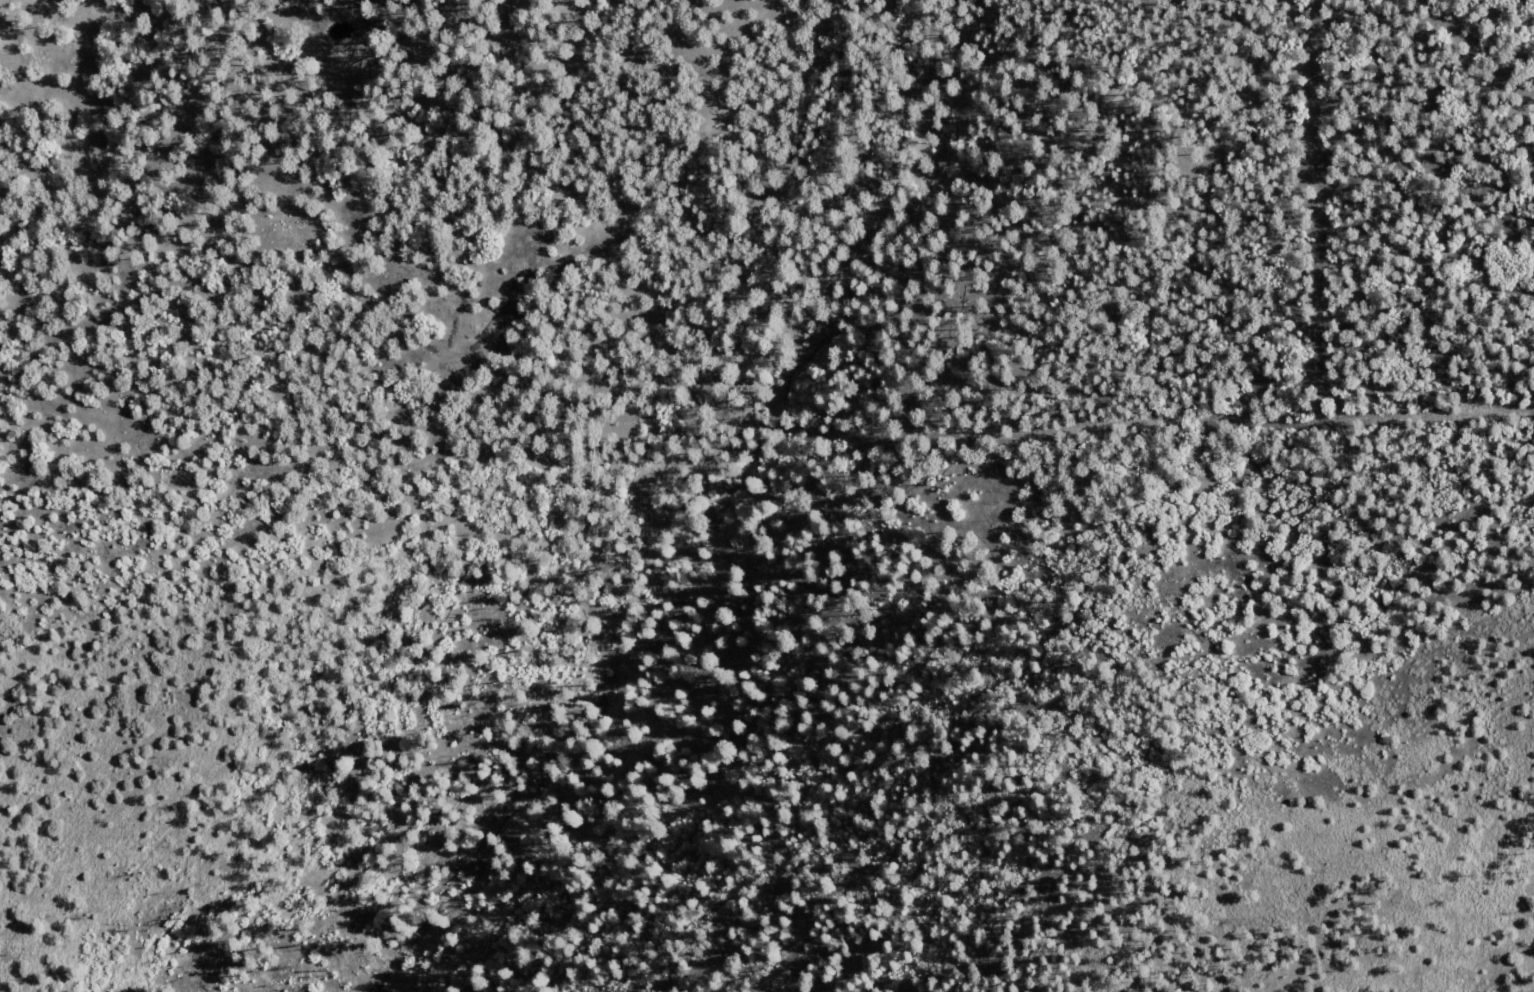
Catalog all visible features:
road: (71, 72)

